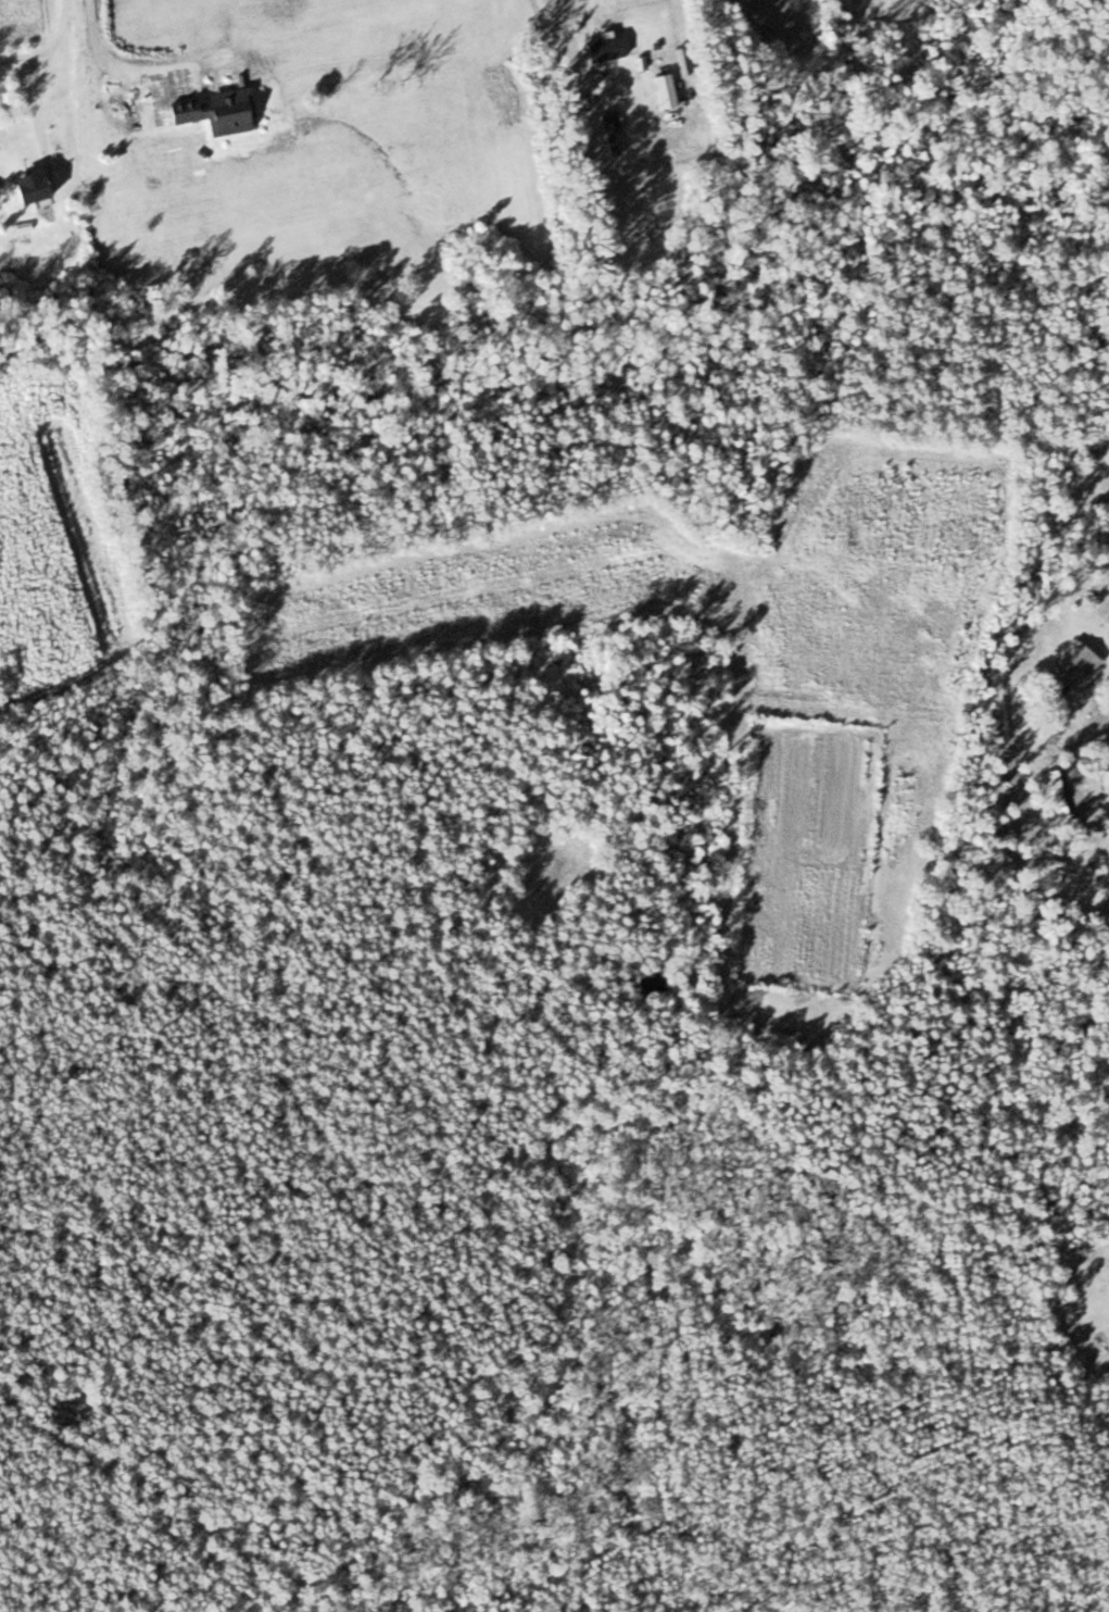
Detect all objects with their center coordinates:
building: (25, 186)
building: (1078, 660)
road: (1100, 708)
building: (1058, 729)
building: (1104, 787)

